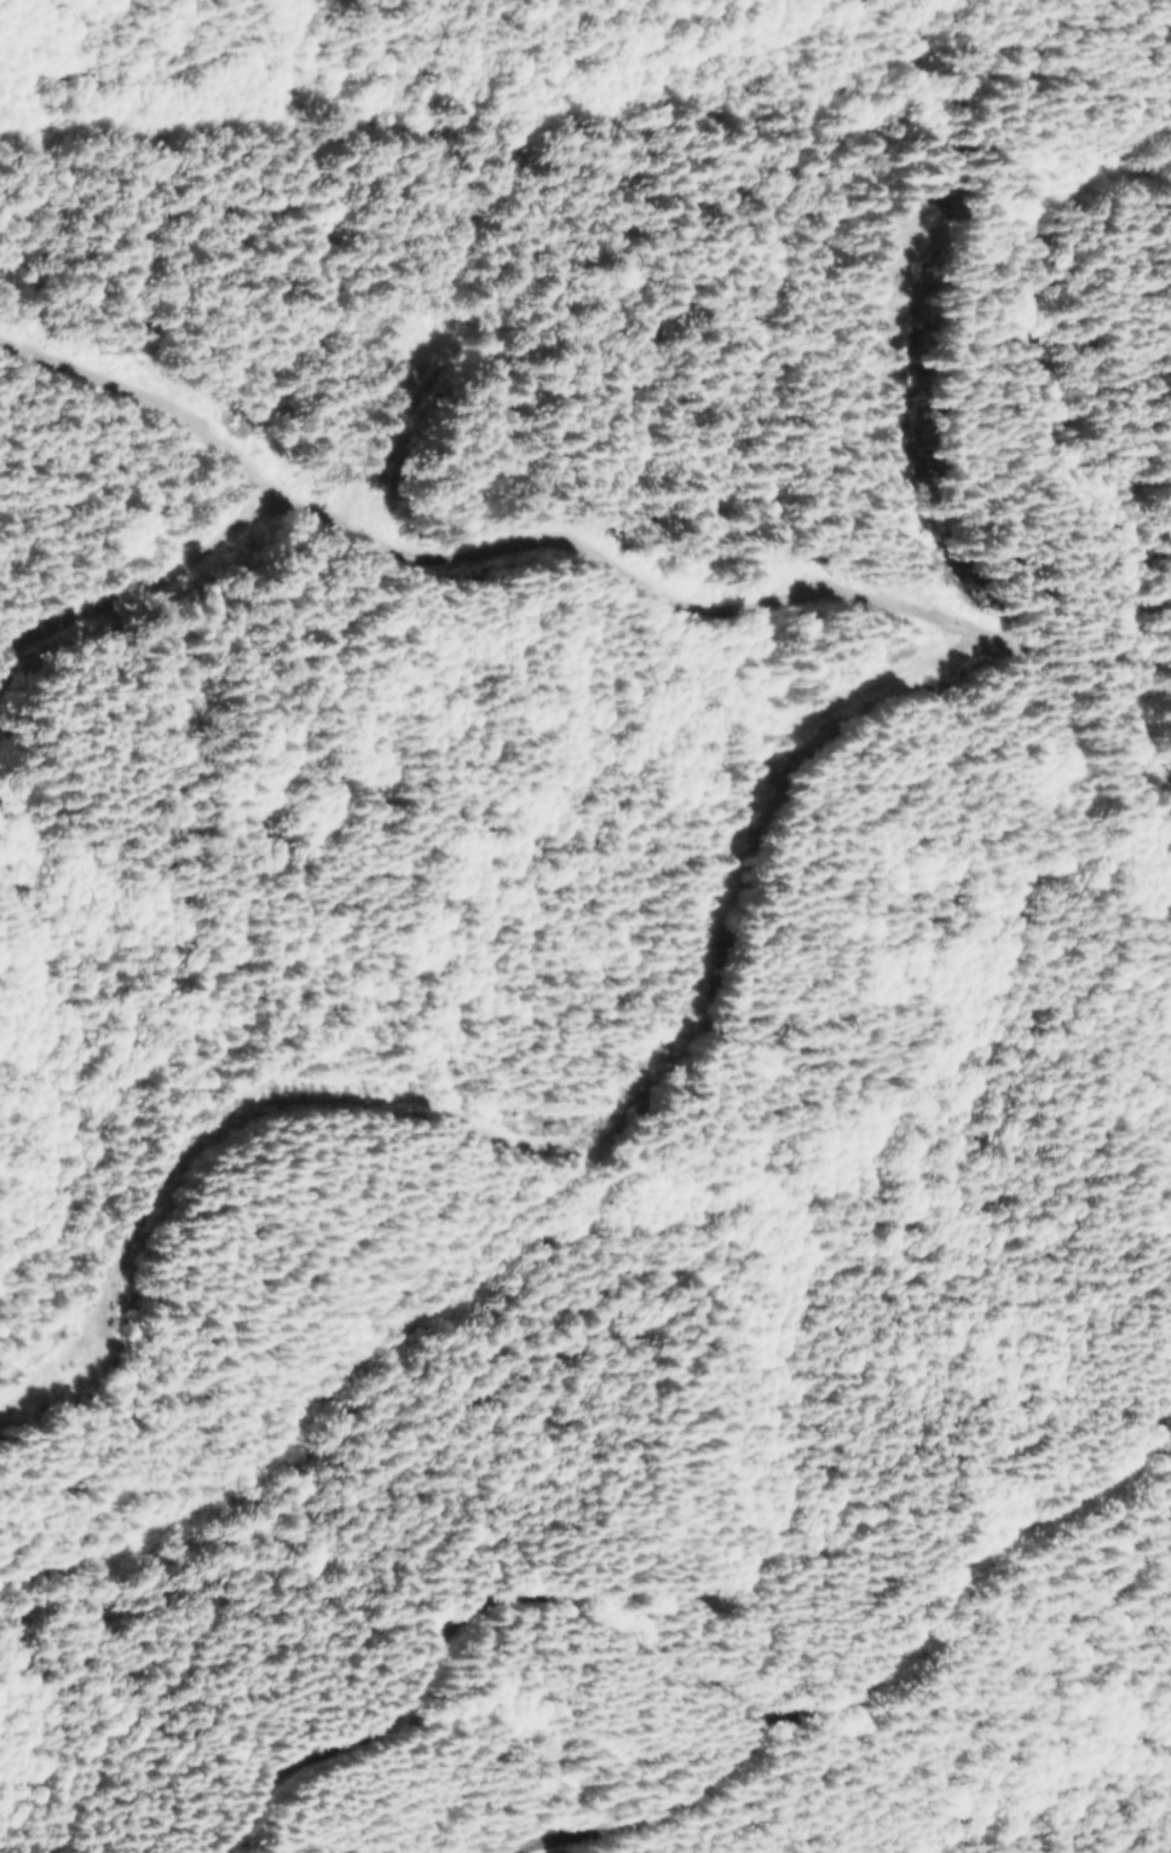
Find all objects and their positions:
road: (645, 580)
road: (400, 1581)
road: (830, 1604)

